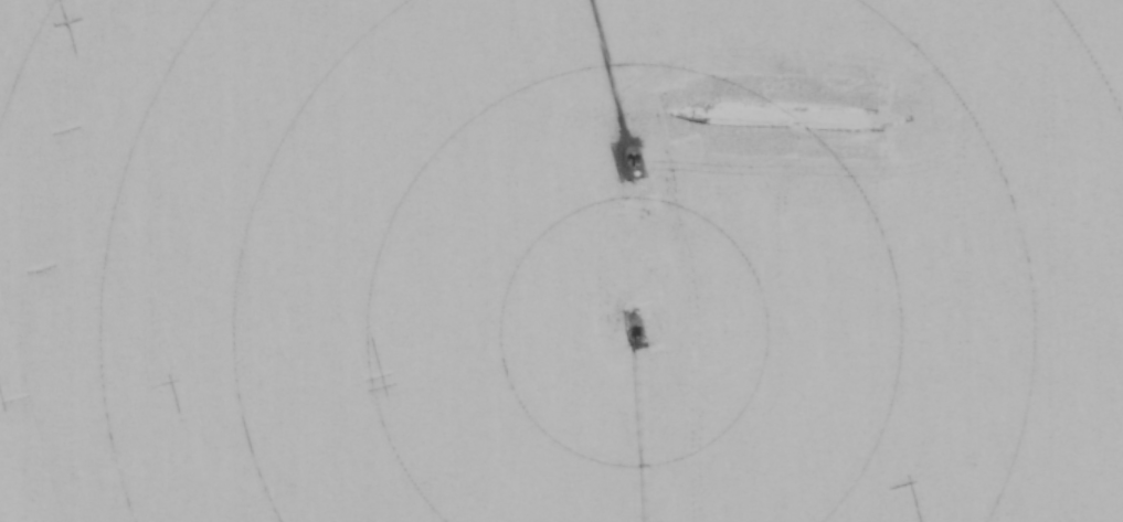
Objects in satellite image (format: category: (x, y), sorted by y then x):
crop: (561, 260)

